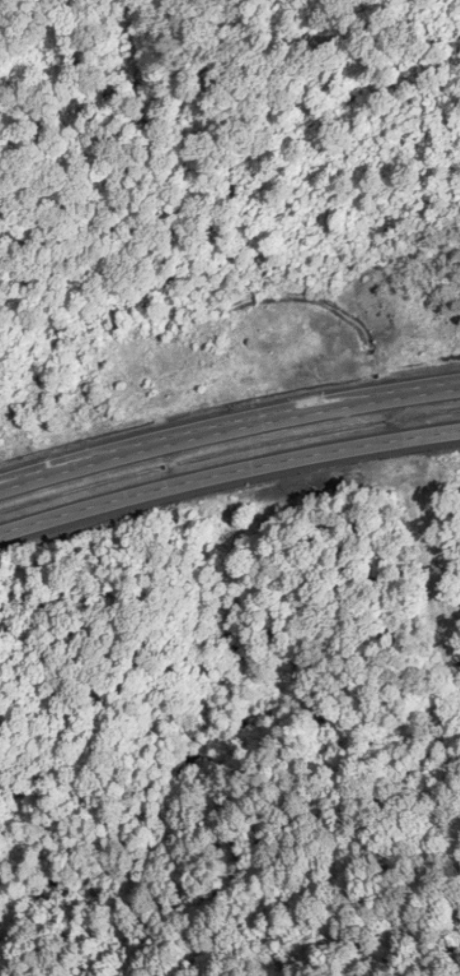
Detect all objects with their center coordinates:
road: (228, 431)
road: (227, 473)

